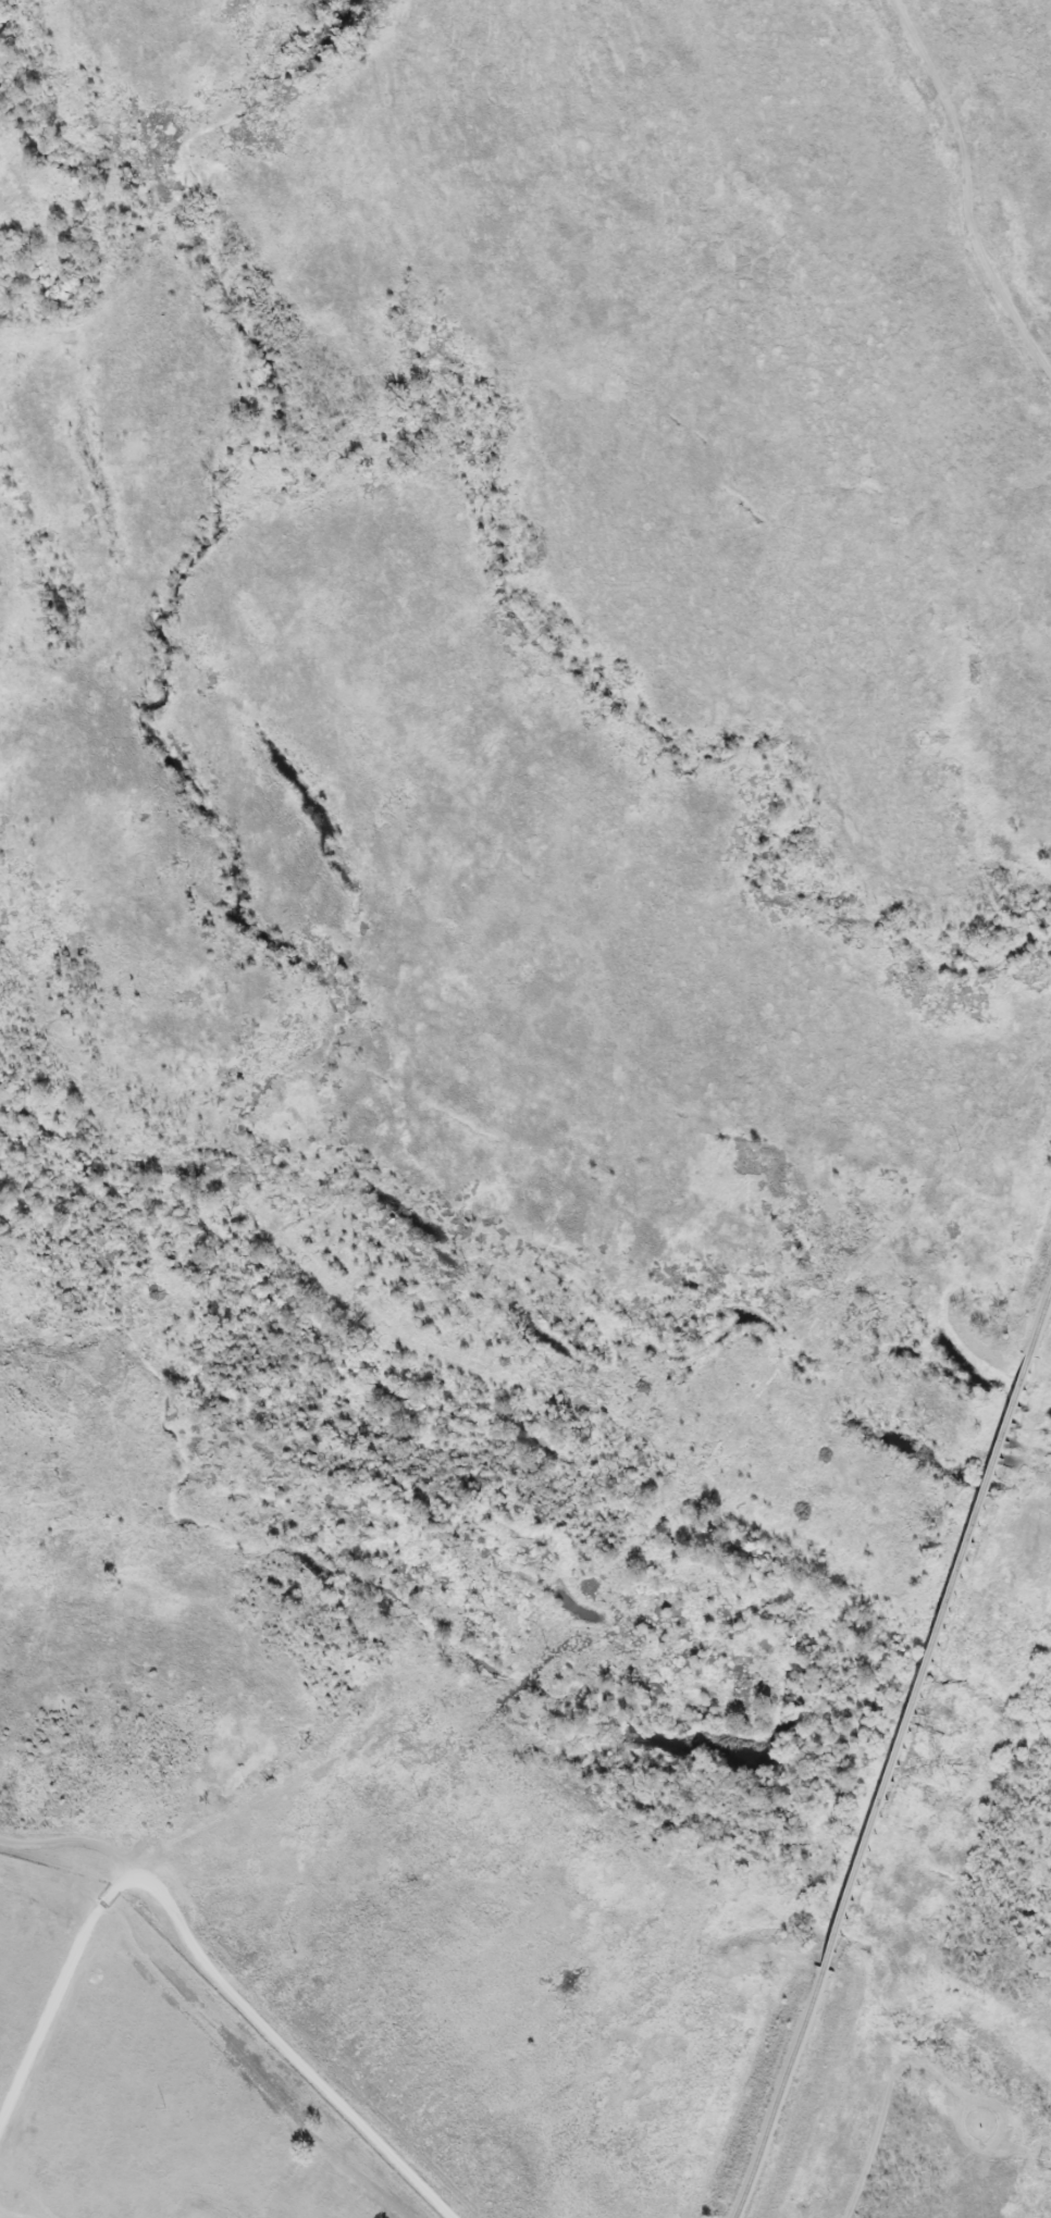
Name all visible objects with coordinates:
railway: (1041, 1325)
railway: (929, 1659)
power tower: (943, 1780)
railway: (776, 2092)

